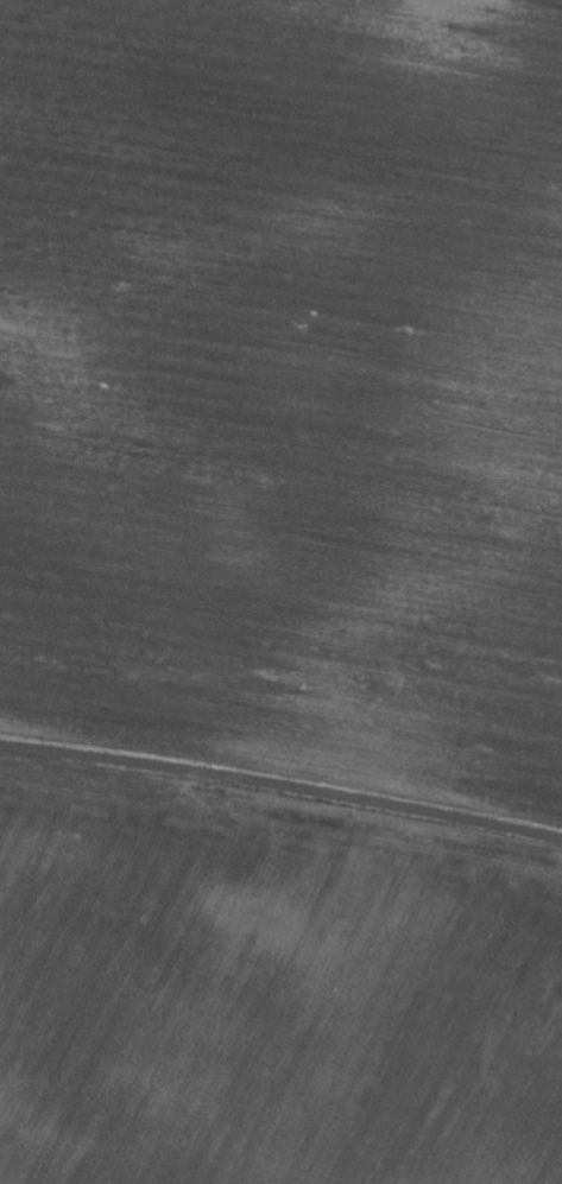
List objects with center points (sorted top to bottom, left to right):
road: (282, 786)

